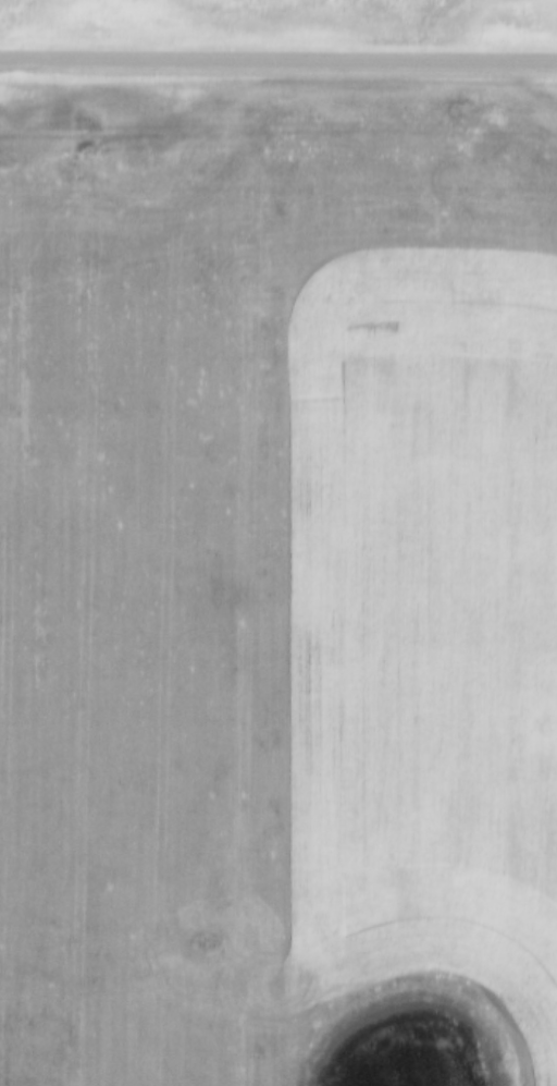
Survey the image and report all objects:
road: (277, 57)

